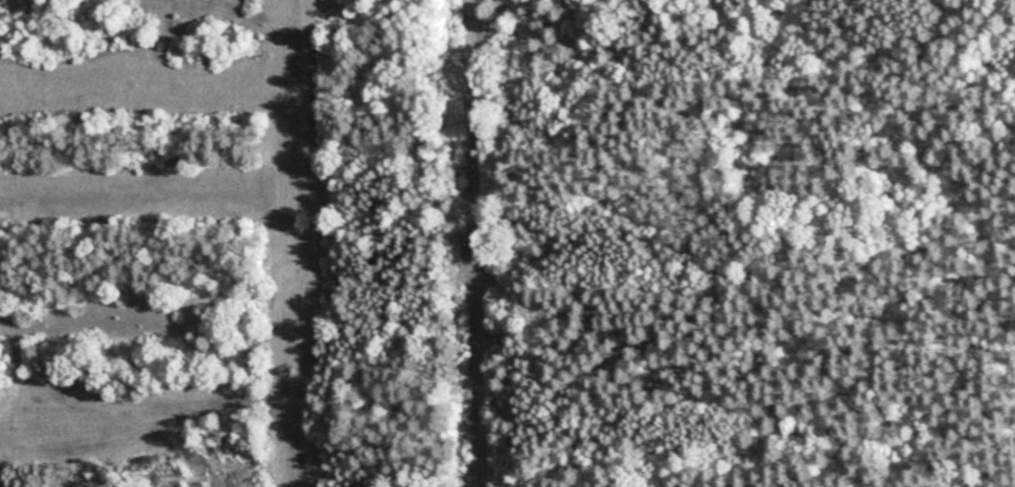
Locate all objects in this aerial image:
road: (986, 26)
road: (479, 243)
park: (507, 243)

